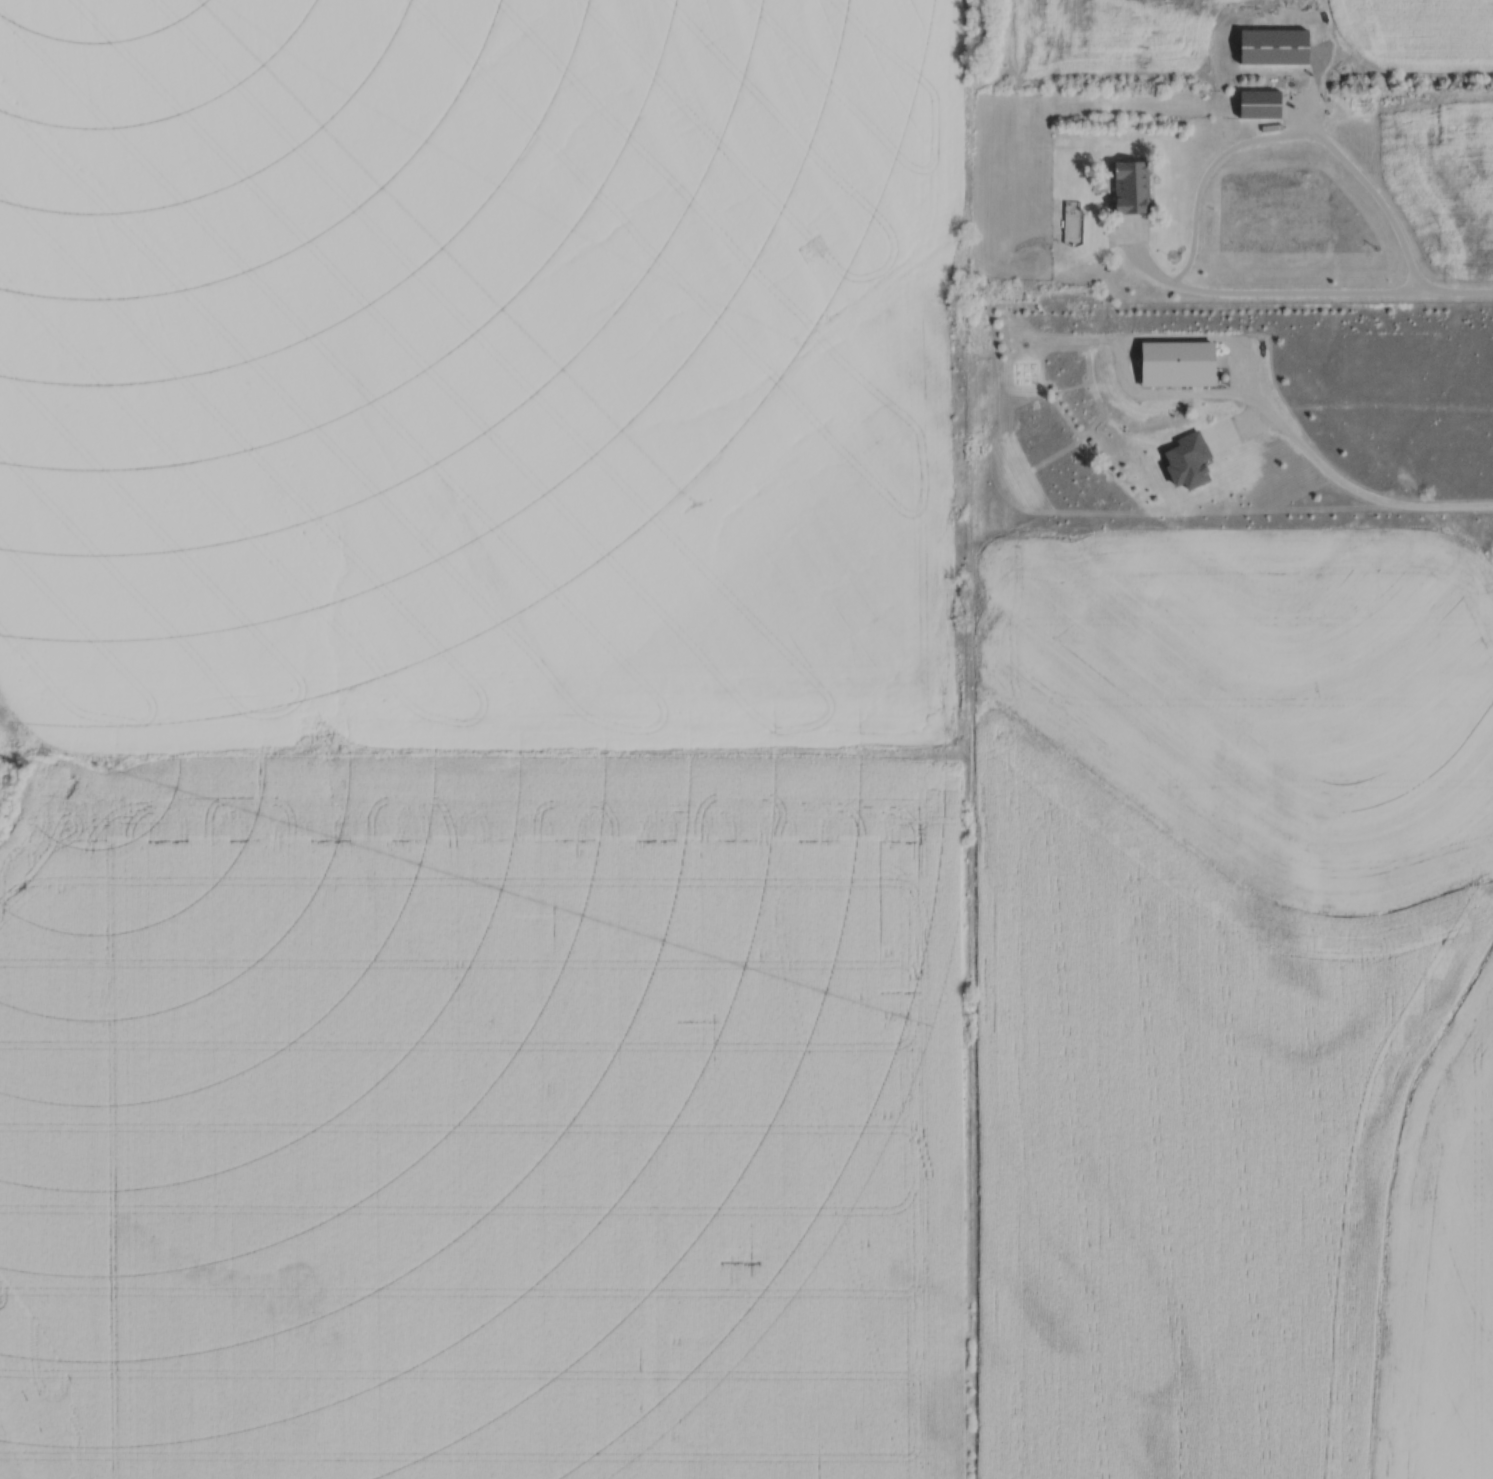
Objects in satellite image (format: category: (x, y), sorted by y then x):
building: (1277, 45)
building: (1262, 103)
road: (1202, 182)
building: (1134, 185)
road: (1396, 230)
road: (1267, 298)
building: (1181, 362)
road: (1361, 492)

